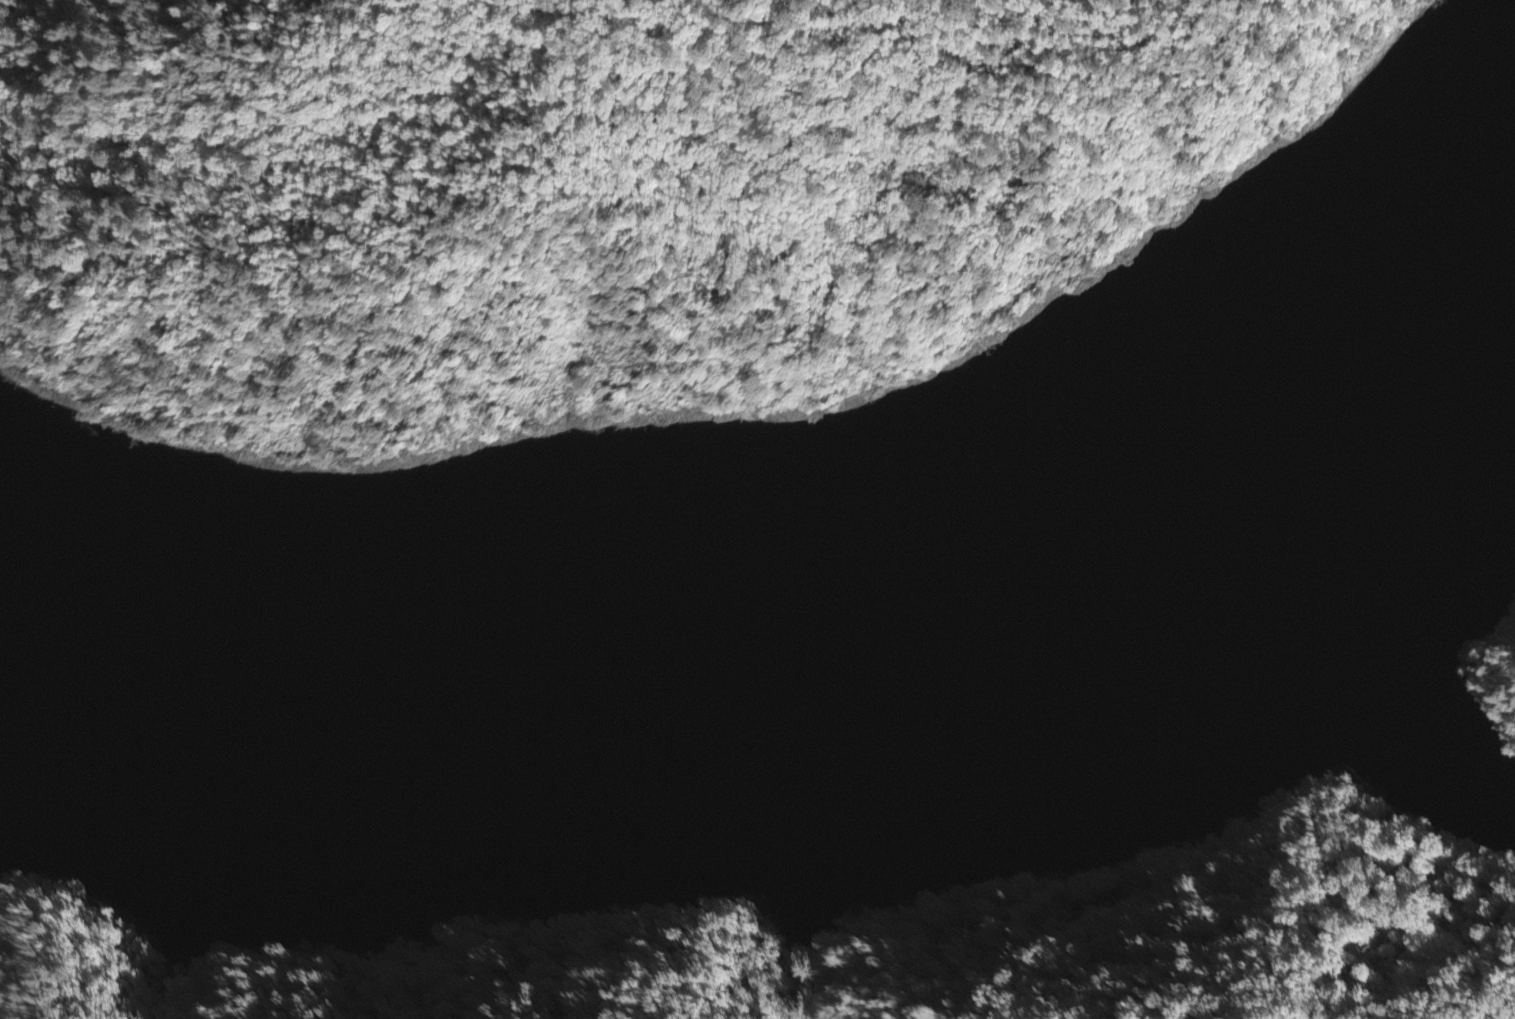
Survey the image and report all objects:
river: (1402, 351)
river: (645, 630)

